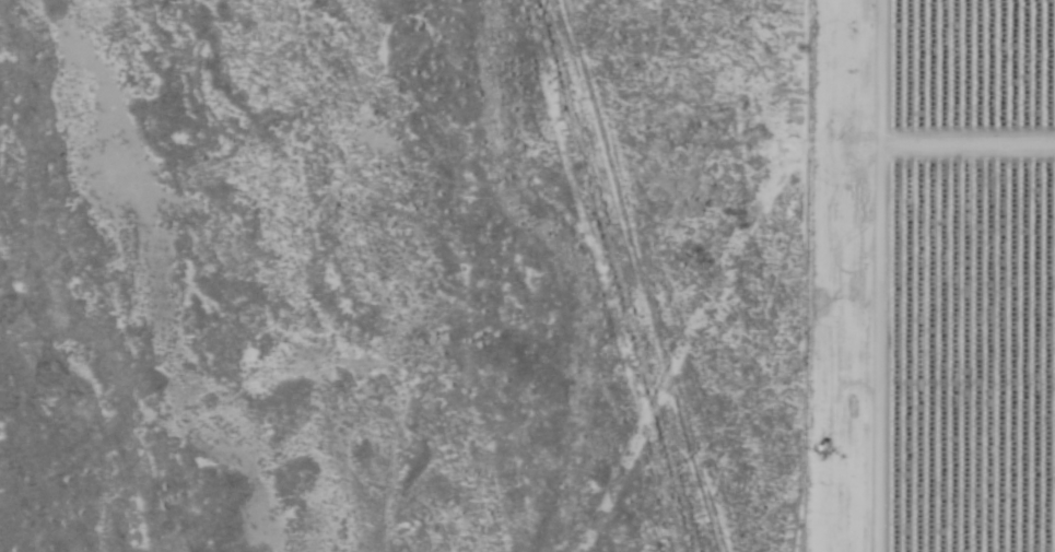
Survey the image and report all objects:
road: (968, 184)
road: (879, 275)

